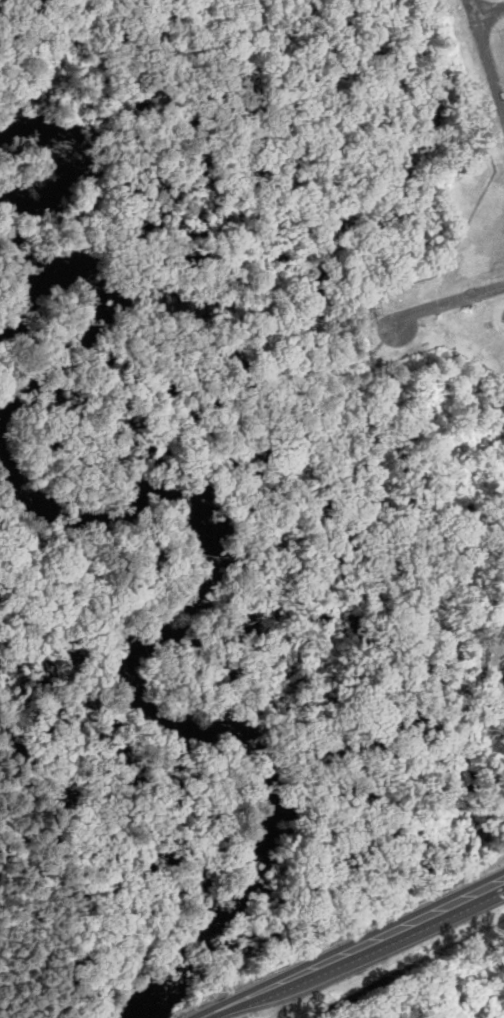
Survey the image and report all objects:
road: (471, 44)
river: (39, 142)
road: (448, 257)
river: (81, 292)
river: (144, 694)
road: (356, 950)

